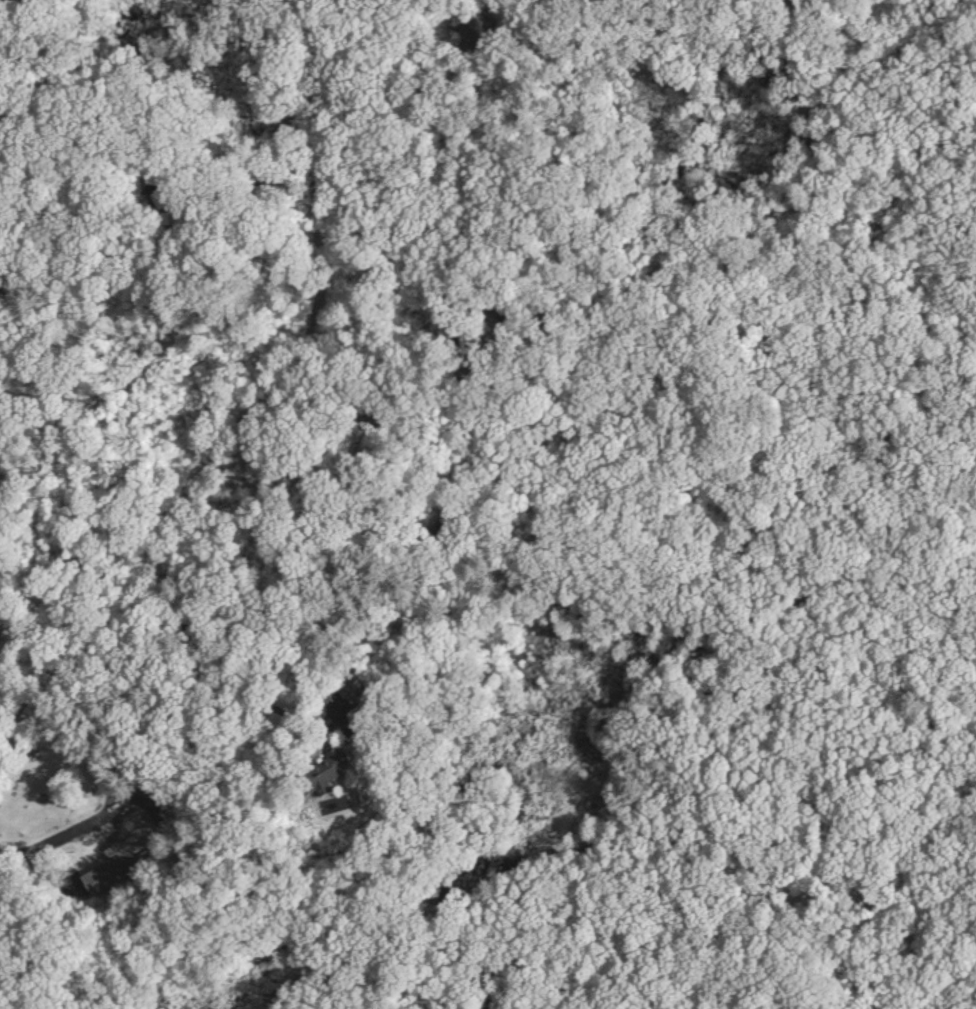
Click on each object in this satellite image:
building: (466, 27)
road: (867, 53)
road: (257, 413)
building: (347, 688)
road: (199, 693)
building: (320, 770)
road: (112, 821)
building: (107, 871)
road: (761, 908)

